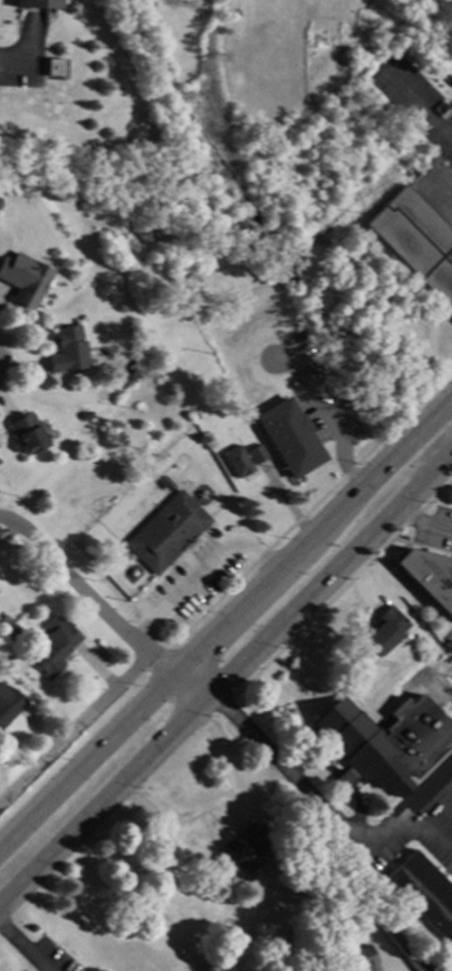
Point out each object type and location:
building: (34, 3)
road: (15, 61)
building: (52, 69)
road: (422, 110)
road: (439, 195)
building: (415, 242)
building: (23, 278)
building: (68, 349)
building: (138, 358)
building: (277, 427)
building: (27, 433)
building: (255, 453)
building: (236, 461)
building: (164, 482)
road: (421, 528)
building: (166, 532)
road: (201, 570)
building: (428, 576)
road: (337, 594)
road: (101, 609)
building: (4, 619)
road: (227, 624)
building: (383, 630)
building: (14, 632)
building: (54, 645)
road: (225, 679)
building: (8, 702)
road: (74, 729)
building: (355, 743)
road: (429, 781)
road: (328, 815)
road: (172, 824)
road: (291, 835)
building: (245, 850)
building: (424, 893)
building: (401, 943)
road: (22, 948)
building: (354, 960)
building: (243, 961)

